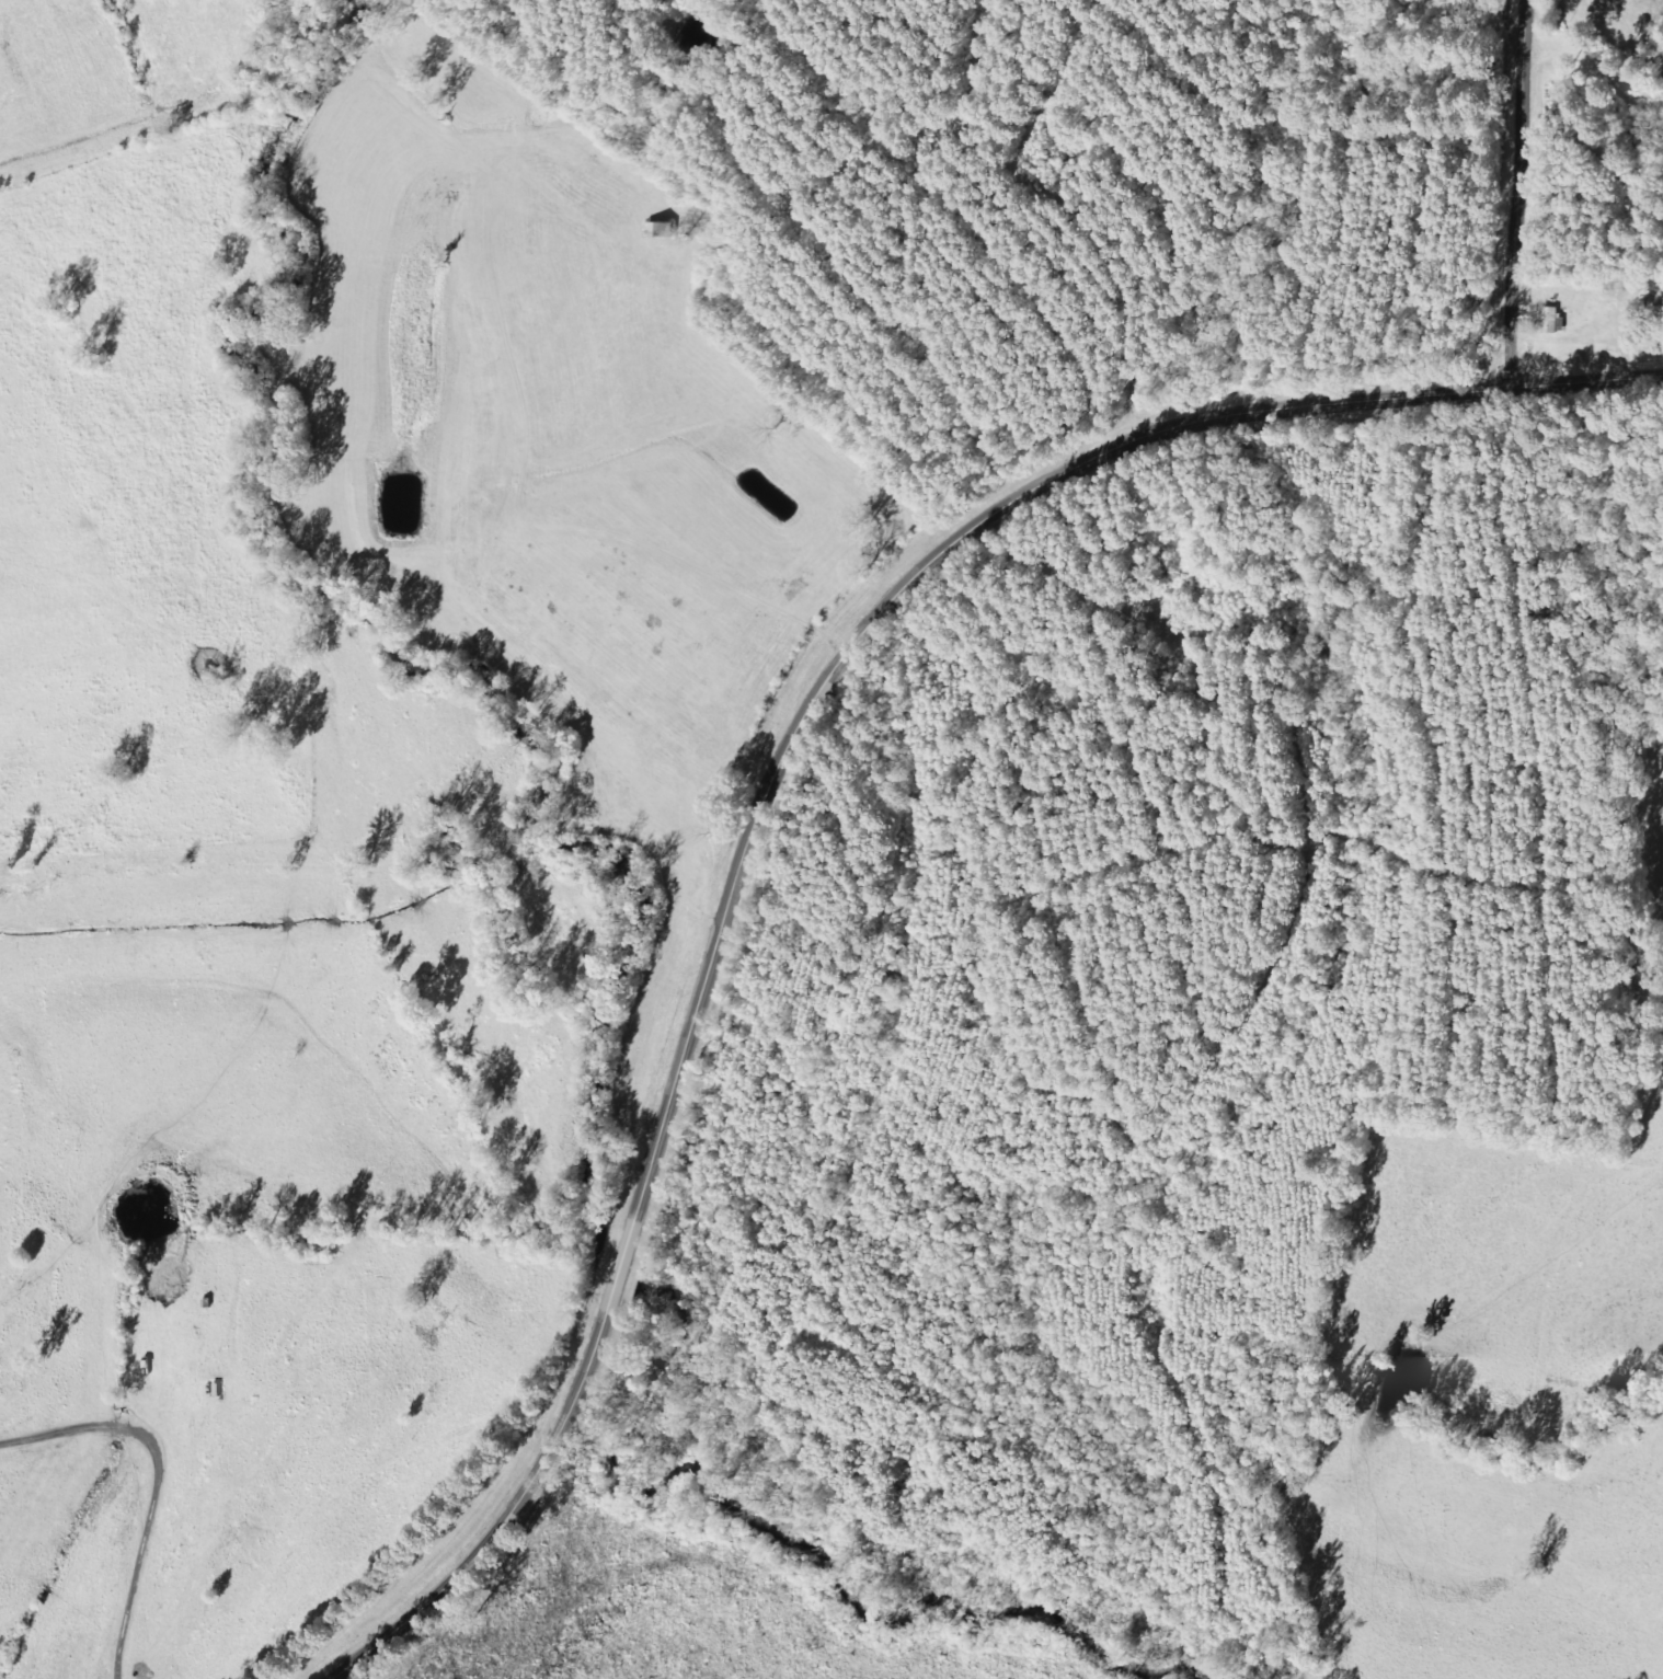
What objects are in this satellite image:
road: (1514, 194)
building: (657, 231)
building: (1552, 322)
road: (773, 770)

